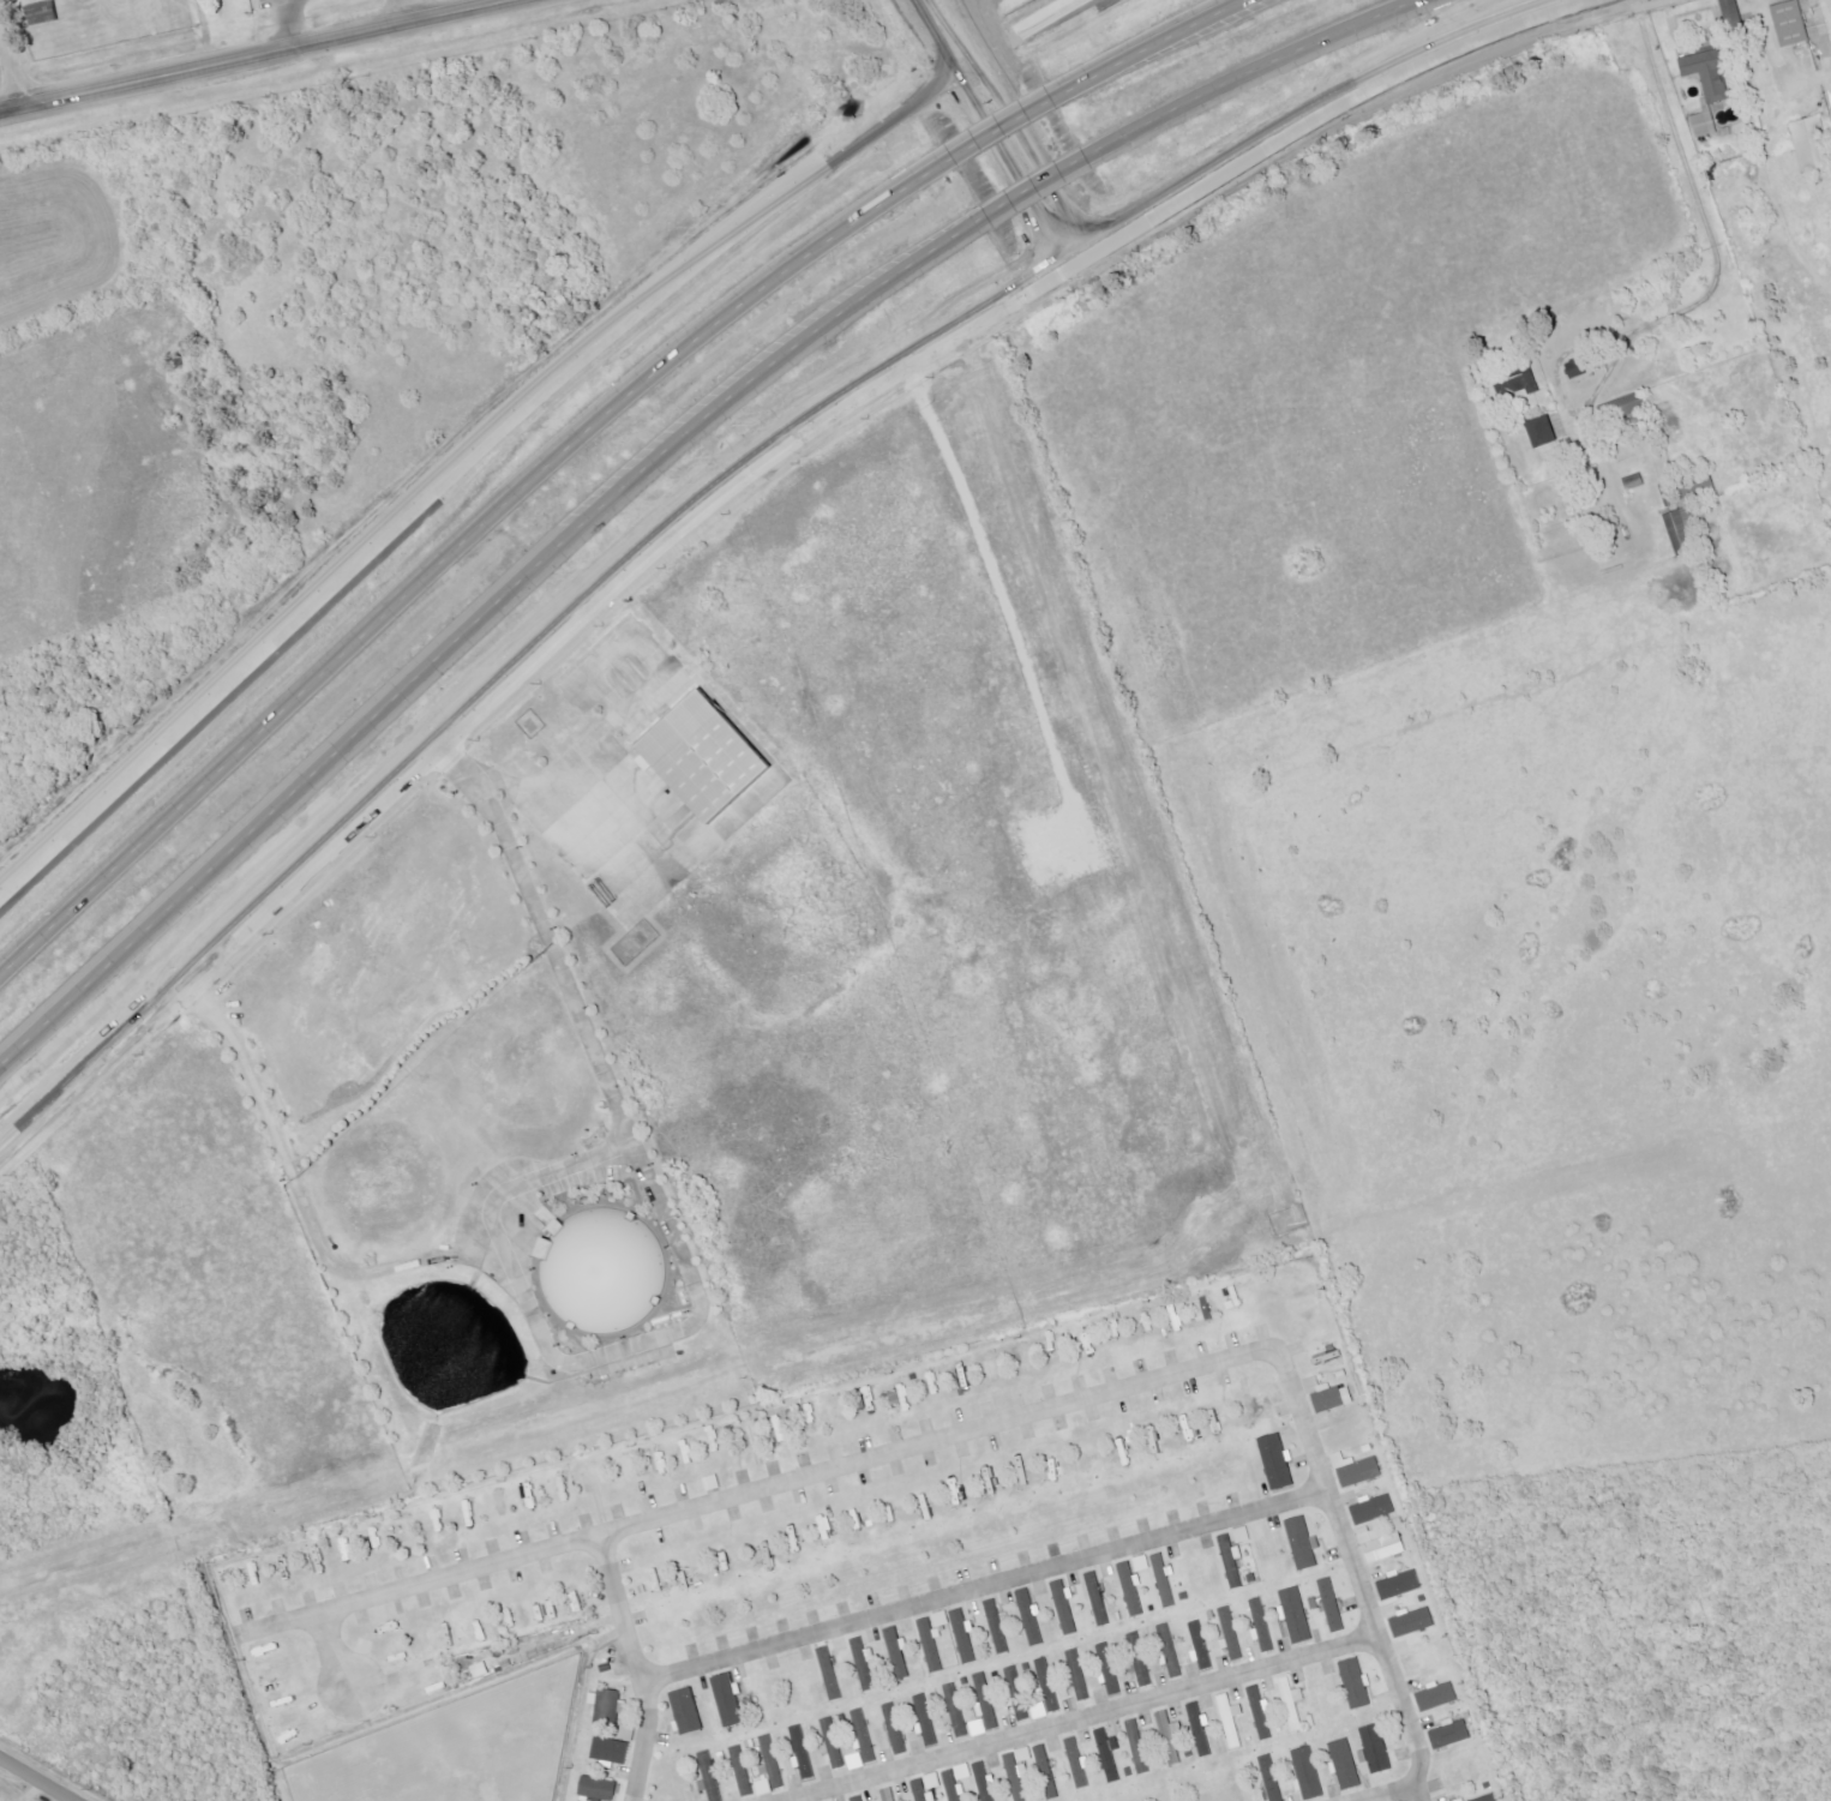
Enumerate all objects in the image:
building: (43, 13)
road: (403, 13)
building: (1733, 14)
building: (1791, 24)
road: (290, 25)
road: (1196, 30)
road: (1295, 49)
road: (1766, 53)
road: (257, 60)
road: (1820, 71)
road: (11, 73)
building: (1710, 78)
road: (1347, 92)
road: (1122, 107)
road: (1047, 112)
road: (1059, 114)
building: (1705, 125)
building: (1811, 145)
road: (1086, 154)
road: (1007, 167)
road: (1710, 224)
building: (1577, 370)
building: (1518, 383)
building: (1628, 406)
road: (514, 415)
building: (1543, 432)
building: (1634, 481)
building: (1681, 533)
road: (460, 539)
road: (482, 614)
road: (530, 659)
road: (580, 745)
building: (703, 756)
road: (619, 822)
road: (530, 1179)
building: (1203, 1310)
building: (1177, 1319)
building: (1322, 1337)
road: (632, 1346)
building: (1328, 1395)
building: (901, 1399)
building: (840, 1406)
building: (781, 1428)
building: (751, 1434)
building: (1277, 1460)
building: (1356, 1470)
building: (713, 1483)
road: (755, 1490)
building: (1374, 1509)
building: (1242, 1535)
building: (1302, 1543)
building: (1381, 1544)
road: (1355, 1562)
building: (1142, 1563)
building: (1159, 1580)
building: (1399, 1584)
road: (987, 1586)
building: (1131, 1589)
building: (1098, 1598)
building: (1332, 1605)
building: (1064, 1607)
building: (523, 1614)
building: (1031, 1617)
building: (1292, 1620)
building: (1412, 1622)
building: (1261, 1625)
building: (997, 1626)
building: (1231, 1634)
building: (965, 1635)
building: (933, 1638)
building: (1169, 1647)
road: (335, 1652)
building: (898, 1652)
building: (865, 1662)
road: (640, 1665)
building: (1109, 1668)
building: (480, 1670)
building: (1141, 1670)
building: (830, 1673)
building: (1079, 1675)
building: (1356, 1683)
building: (1049, 1685)
building: (1019, 1694)
building: (1437, 1697)
building: (728, 1700)
building: (986, 1701)
building: (1292, 1703)
building: (608, 1705)
building: (1040, 1710)
building: (688, 1711)
building: (956, 1711)
building: (1261, 1712)
road: (1087, 1718)
building: (1231, 1719)
building: (925, 1721)
building: (889, 1727)
building: (978, 1728)
building: (1201, 1728)
building: (625, 1731)
building: (1451, 1735)
building: (1171, 1739)
building: (833, 1742)
building: (1139, 1746)
building: (1376, 1748)
building: (611, 1749)
building: (802, 1751)
building: (1107, 1755)
building: (856, 1761)
building: (1077, 1763)
building: (1346, 1764)
building: (769, 1769)
building: (743, 1771)
building: (963, 1772)
building: (1019, 1772)
building: (1047, 1772)
building: (1309, 1772)
building: (709, 1776)
building: (1272, 1777)
road: (36, 1778)
building: (933, 1781)
building: (984, 1782)
building: (953, 1785)
building: (599, 1788)
road: (1419, 1790)
building: (923, 1791)
road: (1391, 1793)
building: (889, 1794)
building: (1488, 1797)
building: (858, 1799)

